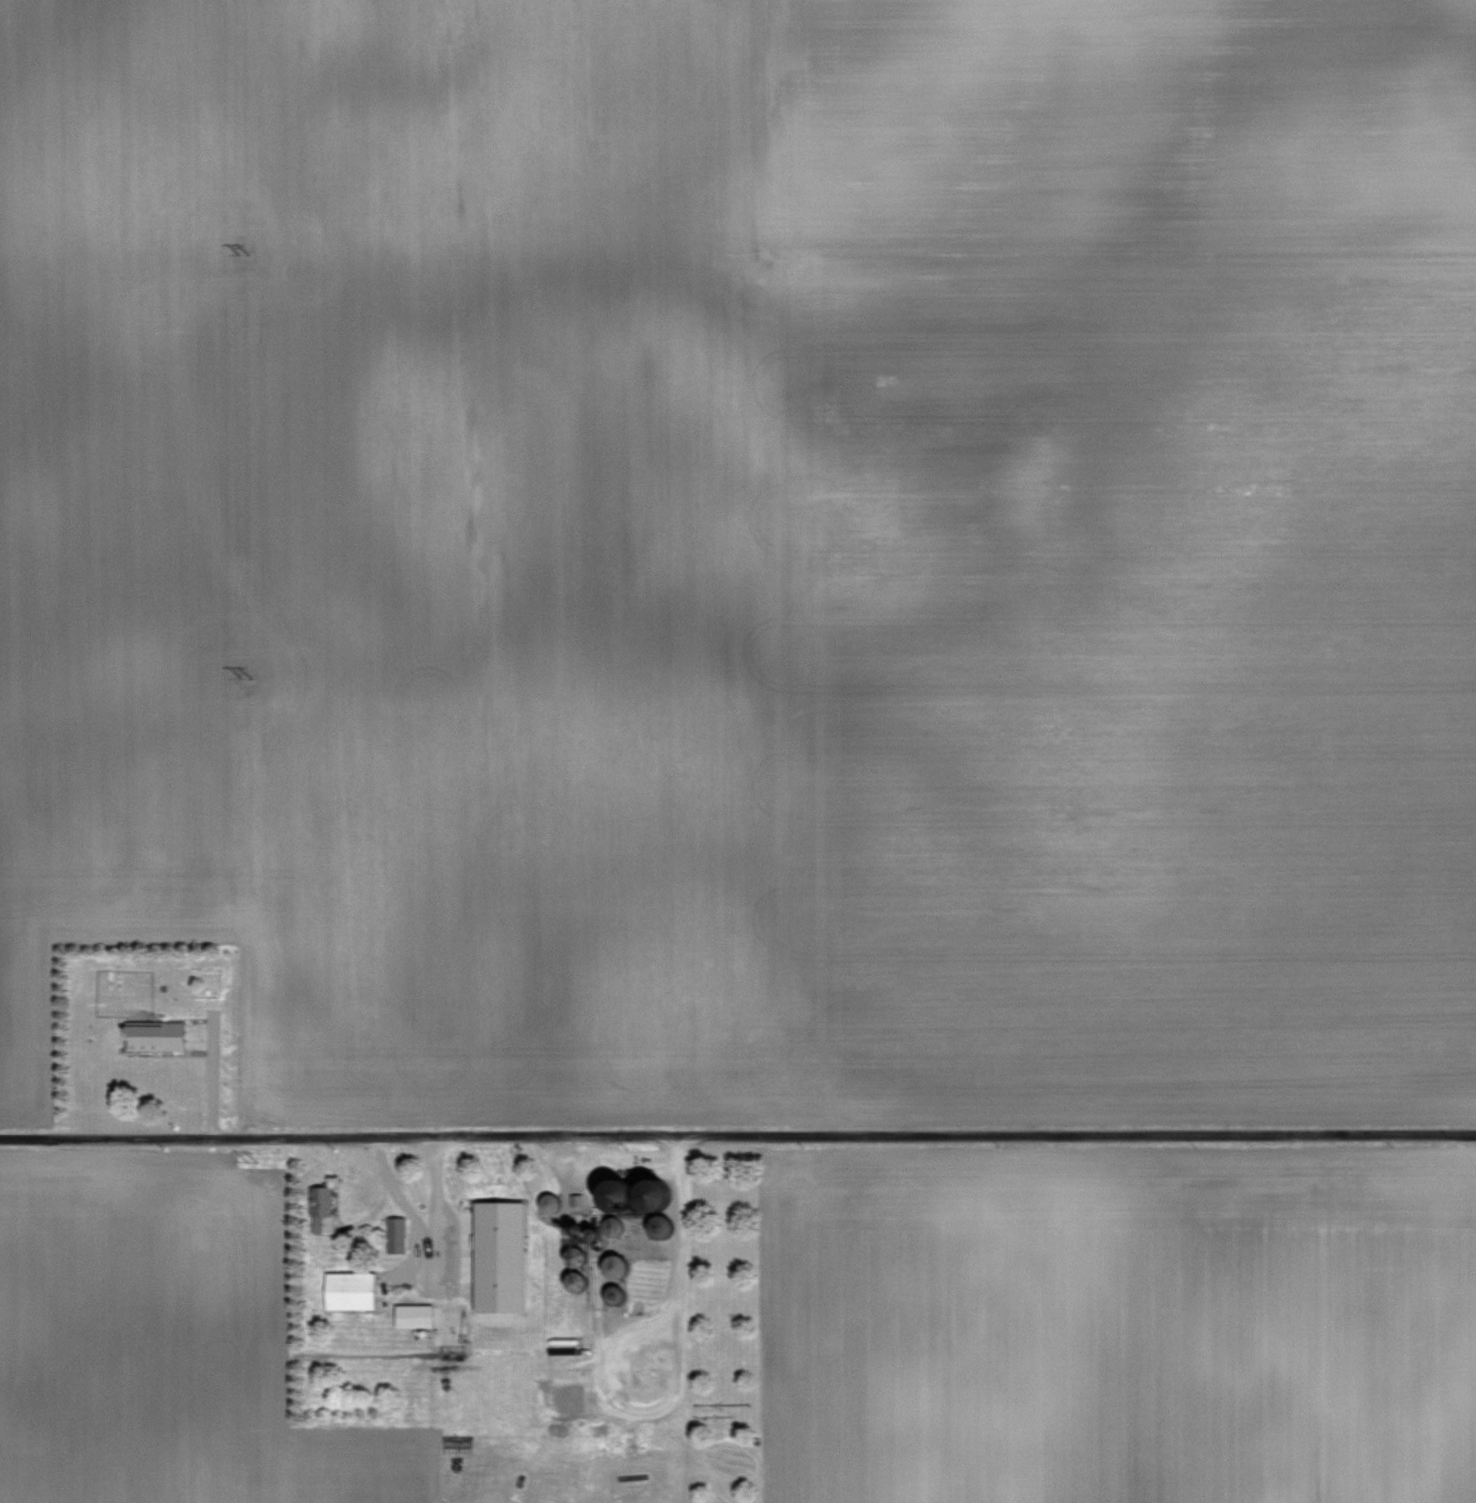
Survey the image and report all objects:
building: (154, 1036)
road: (737, 1134)
building: (648, 1192)
building: (551, 1203)
building: (322, 1209)
building: (658, 1223)
building: (396, 1234)
building: (499, 1256)
building: (616, 1265)
building: (350, 1291)
building: (616, 1293)

